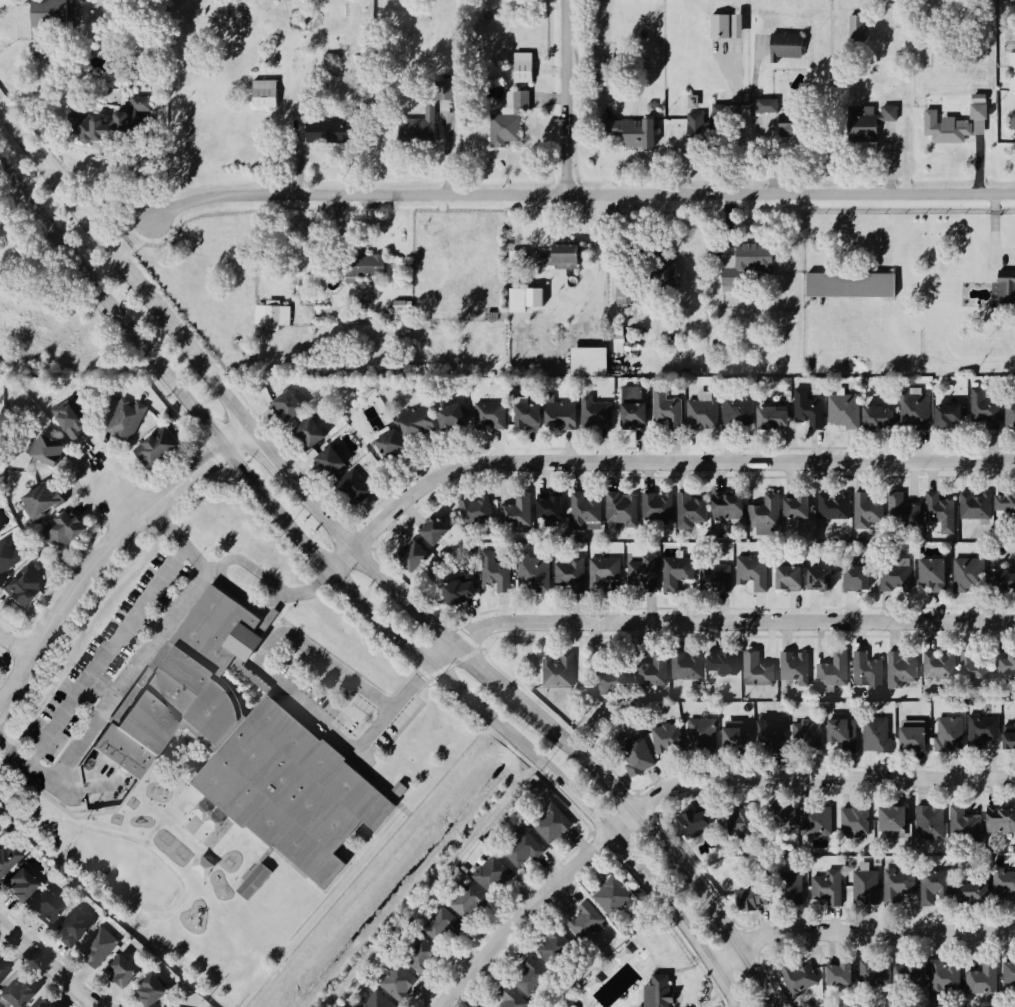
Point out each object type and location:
building: (53, 14)
building: (742, 25)
building: (737, 26)
building: (719, 27)
building: (856, 28)
building: (791, 44)
building: (330, 57)
building: (522, 68)
building: (1012, 71)
building: (445, 91)
building: (263, 93)
road: (565, 97)
building: (768, 106)
building: (980, 111)
building: (720, 114)
building: (510, 119)
building: (874, 120)
building: (1013, 121)
building: (119, 122)
building: (799, 123)
building: (422, 127)
building: (947, 128)
building: (334, 131)
building: (637, 133)
road: (581, 193)
road: (599, 200)
road: (553, 229)
road: (995, 229)
building: (544, 255)
building: (569, 258)
building: (368, 265)
road: (122, 269)
road: (600, 273)
building: (849, 285)
building: (628, 288)
building: (1005, 290)
building: (529, 299)
road: (111, 306)
building: (273, 316)
building: (588, 360)
building: (890, 403)
building: (924, 403)
building: (292, 405)
building: (636, 408)
building: (810, 409)
building: (667, 411)
building: (845, 411)
building: (704, 412)
building: (992, 412)
building: (740, 413)
building: (599, 414)
building: (491, 416)
building: (531, 416)
building: (567, 416)
building: (952, 416)
building: (777, 418)
building: (882, 419)
building: (71, 420)
building: (127, 420)
building: (435, 423)
building: (313, 434)
building: (395, 444)
building: (158, 448)
road: (268, 450)
building: (52, 452)
building: (334, 461)
road: (652, 461)
building: (357, 484)
road: (115, 496)
building: (45, 500)
building: (1007, 504)
building: (691, 506)
building: (731, 506)
building: (835, 506)
building: (659, 507)
building: (802, 507)
building: (974, 507)
building: (553, 508)
building: (898, 509)
building: (586, 510)
building: (624, 511)
building: (868, 511)
building: (767, 512)
building: (497, 513)
road: (165, 525)
building: (441, 527)
building: (0, 531)
building: (68, 531)
road: (104, 547)
building: (9, 555)
building: (416, 556)
road: (218, 570)
building: (604, 571)
building: (571, 572)
building: (755, 572)
building: (938, 572)
building: (498, 573)
building: (677, 573)
building: (535, 574)
building: (970, 574)
building: (644, 575)
building: (887, 577)
building: (717, 578)
building: (822, 578)
building: (793, 579)
building: (860, 579)
building: (1005, 580)
building: (27, 587)
road: (311, 589)
building: (466, 592)
building: (271, 620)
road: (715, 620)
road: (15, 644)
road: (265, 649)
road: (104, 656)
building: (728, 664)
building: (1010, 665)
road: (136, 666)
building: (794, 666)
building: (941, 666)
building: (688, 667)
building: (902, 669)
building: (759, 670)
building: (974, 670)
building: (834, 671)
building: (561, 672)
building: (869, 674)
building: (639, 676)
road: (395, 704)
road: (490, 717)
road: (549, 725)
building: (982, 729)
building: (844, 733)
building: (950, 734)
building: (807, 735)
building: (774, 736)
building: (877, 736)
building: (705, 738)
building: (1010, 738)
building: (668, 739)
building: (917, 739)
building: (740, 741)
building: (240, 745)
building: (640, 757)
road: (681, 781)
road: (51, 784)
building: (896, 819)
building: (1002, 820)
building: (811, 821)
building: (862, 822)
building: (931, 823)
building: (553, 826)
building: (724, 826)
building: (966, 826)
building: (0, 837)
building: (525, 851)
building: (9, 860)
building: (494, 876)
building: (253, 881)
building: (866, 887)
building: (898, 887)
building: (828, 889)
building: (26, 890)
building: (988, 890)
building: (933, 893)
building: (615, 898)
building: (754, 899)
building: (471, 903)
building: (50, 908)
building: (588, 920)
building: (445, 925)
building: (74, 928)
road: (859, 931)
building: (99, 947)
building: (556, 947)
building: (426, 956)
road: (45, 965)
building: (4, 972)
building: (871, 972)
building: (1011, 973)
building: (128, 975)
building: (532, 975)
park: (642, 975)
building: (843, 975)
building: (930, 976)
building: (801, 979)
building: (984, 981)
building: (401, 982)
building: (155, 991)
building: (661, 991)
building: (22, 992)
building: (382, 1001)
building: (515, 1001)
building: (47, 1003)

